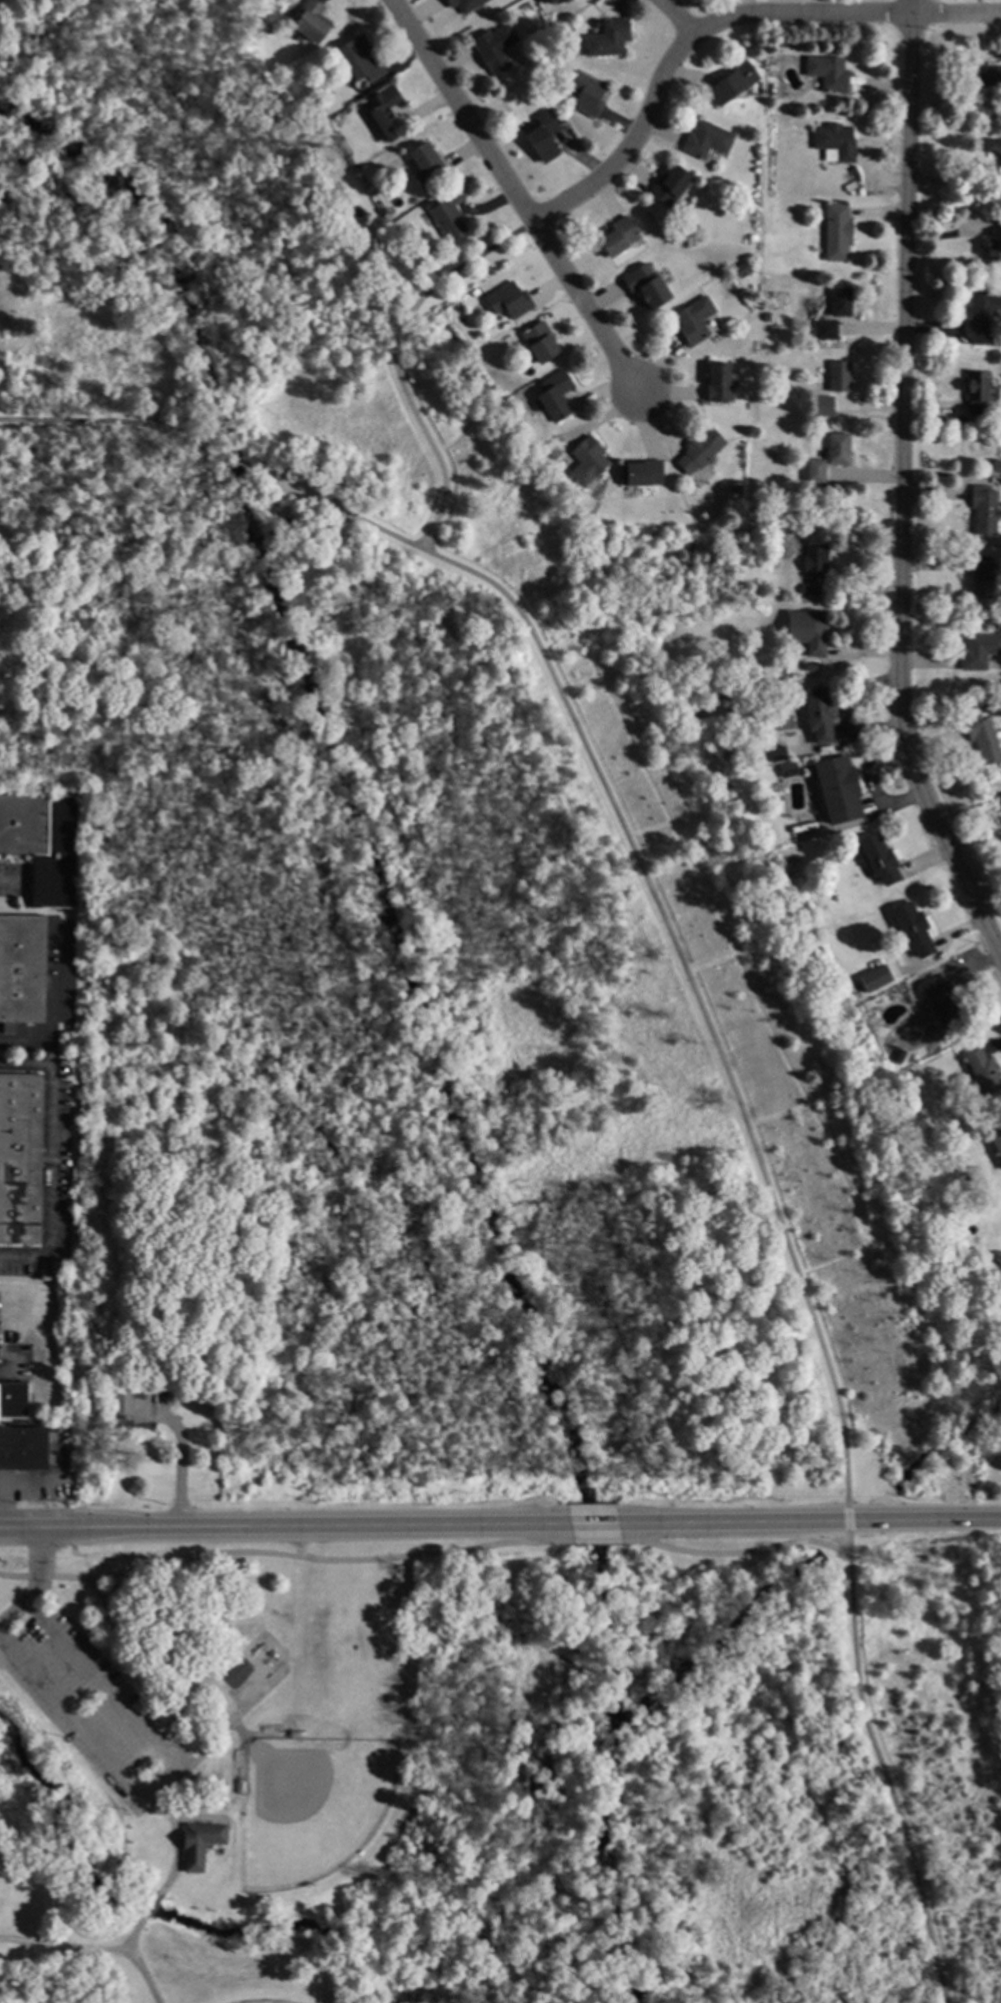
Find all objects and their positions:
building: (557, 1)
building: (463, 5)
road: (818, 13)
building: (311, 22)
building: (607, 40)
building: (780, 44)
building: (538, 46)
building: (494, 50)
building: (358, 61)
building: (771, 68)
building: (827, 74)
building: (981, 76)
building: (731, 84)
building: (585, 95)
building: (385, 113)
building: (331, 125)
building: (542, 138)
road: (621, 140)
building: (705, 141)
building: (834, 143)
building: (994, 148)
building: (425, 164)
building: (854, 175)
road: (952, 182)
building: (669, 188)
road: (510, 191)
building: (447, 214)
building: (999, 222)
building: (836, 233)
building: (751, 237)
building: (617, 238)
building: (993, 250)
building: (741, 270)
building: (646, 287)
building: (473, 292)
building: (508, 302)
building: (840, 302)
building: (981, 316)
building: (693, 323)
building: (825, 331)
building: (539, 343)
road: (391, 359)
building: (838, 377)
building: (718, 384)
building: (977, 394)
building: (553, 397)
building: (822, 405)
road: (112, 423)
building: (837, 449)
building: (980, 451)
building: (699, 452)
building: (586, 462)
road: (235, 463)
building: (815, 472)
building: (640, 473)
building: (736, 490)
road: (888, 499)
building: (984, 510)
building: (813, 568)
building: (982, 579)
building: (806, 633)
building: (978, 652)
building: (810, 667)
building: (818, 716)
building: (981, 739)
building: (776, 755)
building: (736, 768)
building: (786, 771)
building: (837, 790)
building: (1000, 797)
building: (42, 844)
building: (879, 860)
park: (406, 883)
road: (655, 909)
building: (912, 930)
road: (999, 968)
building: (22, 969)
building: (874, 978)
river: (428, 988)
building: (942, 1003)
building: (898, 1057)
building: (983, 1073)
building: (996, 1148)
building: (19, 1158)
building: (981, 1295)
building: (13, 1400)
building: (120, 1402)
building: (23, 1450)
road: (179, 1457)
road: (2, 1503)
road: (813, 1521)
road: (847, 1521)
road: (597, 1525)
road: (283, 1527)
road: (924, 1535)
road: (595, 1542)
road: (734, 1553)
road: (284, 1555)
road: (37, 1584)
road: (111, 1588)
road: (130, 1669)
parking lot: (88, 1702)
road: (225, 1725)
park: (804, 1766)
road: (880, 1771)
park: (306, 1772)
road: (159, 1776)
park: (311, 1806)
road: (173, 1837)
building: (199, 1844)
road: (150, 1905)
road: (133, 1933)
road: (62, 1945)
road: (142, 1976)
park: (269, 2001)

